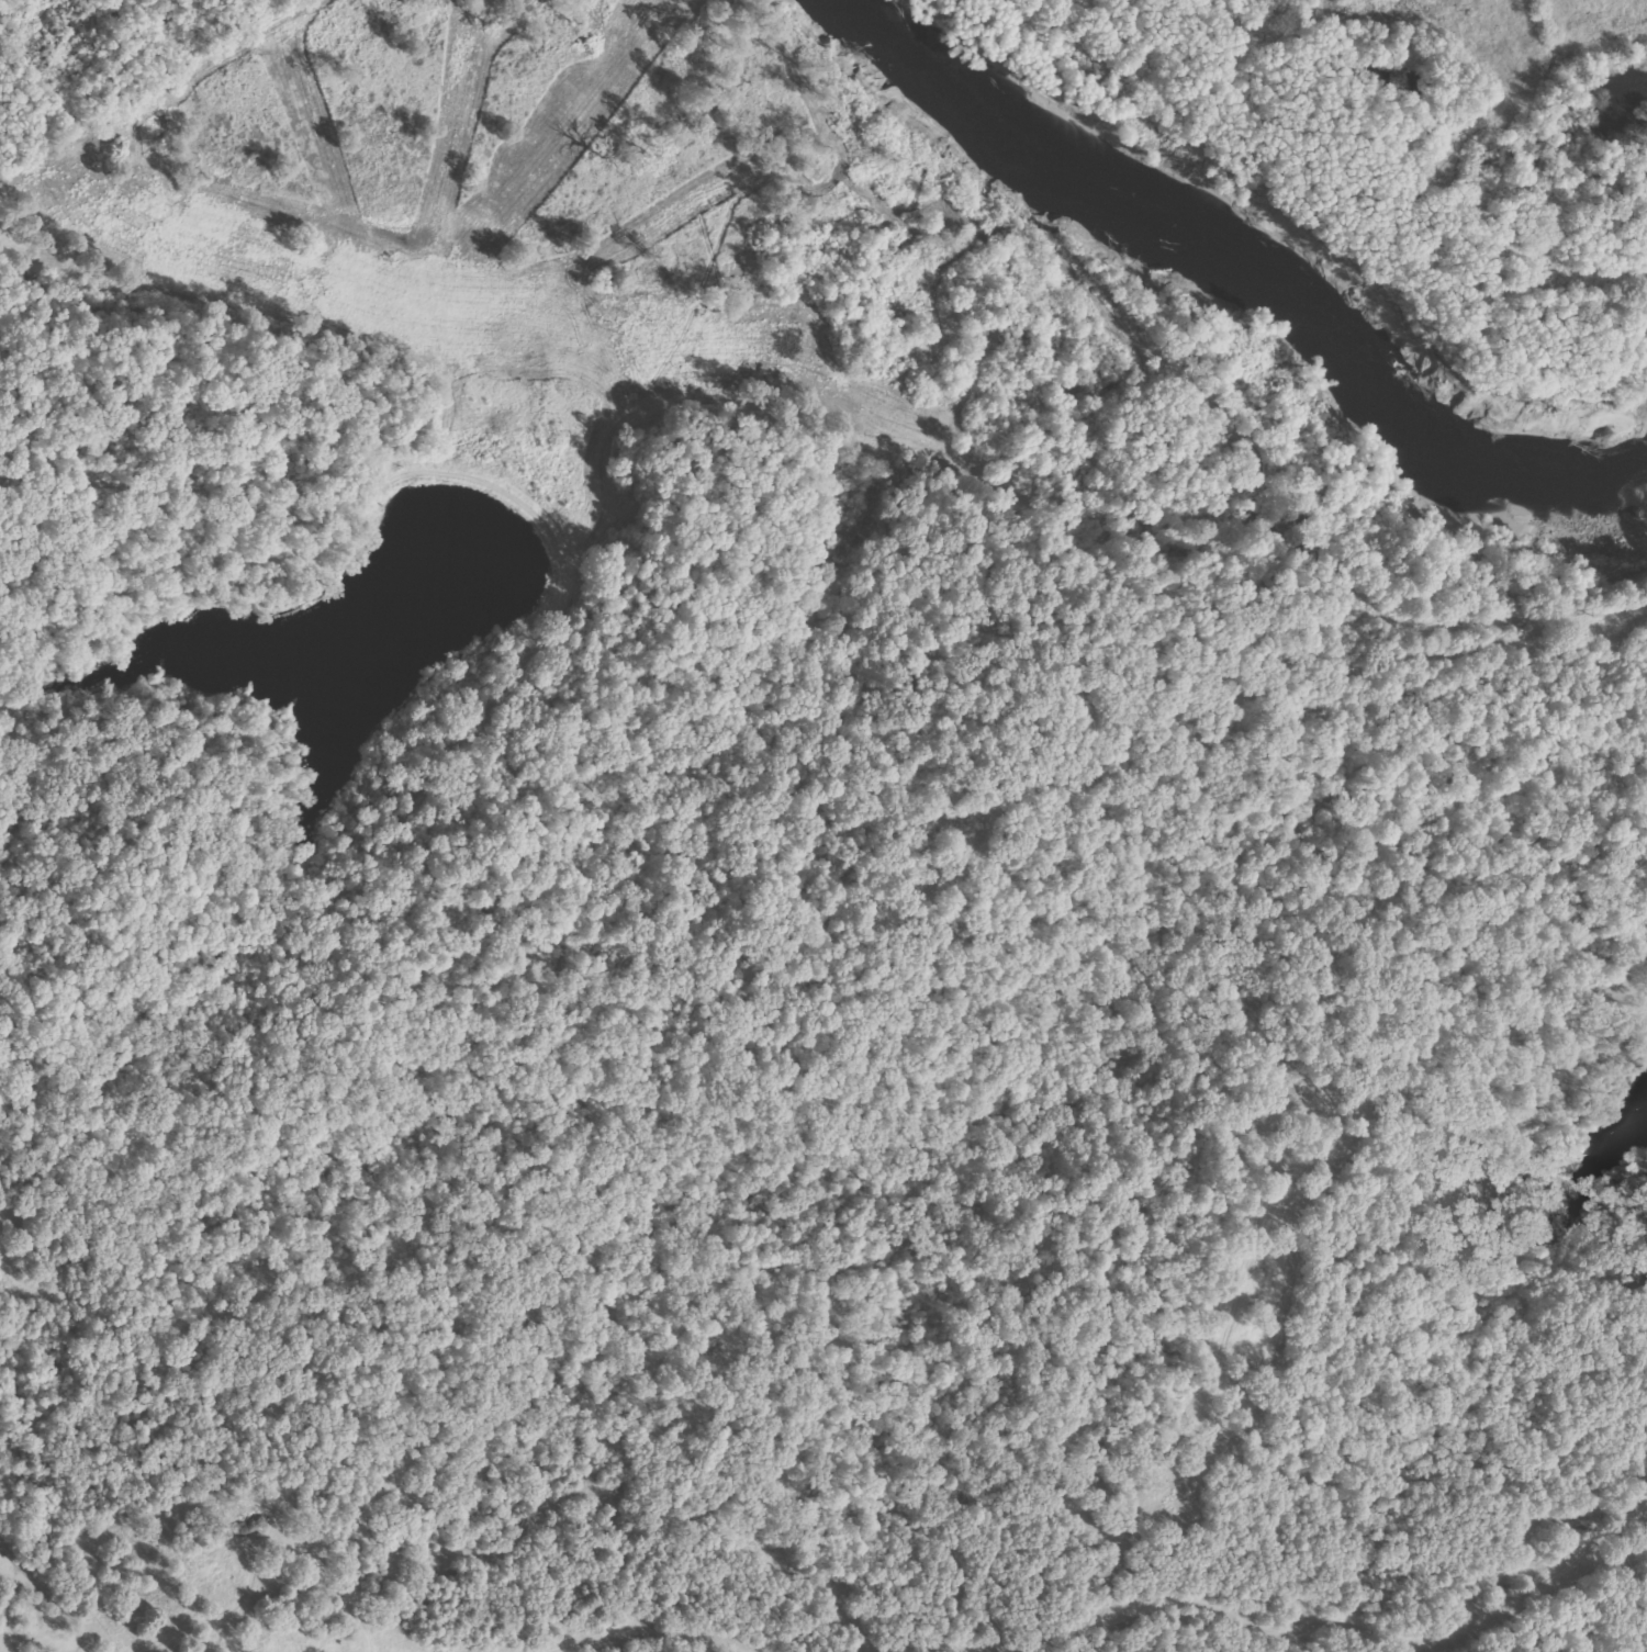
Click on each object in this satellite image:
river: (1263, 279)
road: (121, 460)
road: (844, 940)
road: (1199, 1594)
road: (628, 1632)

